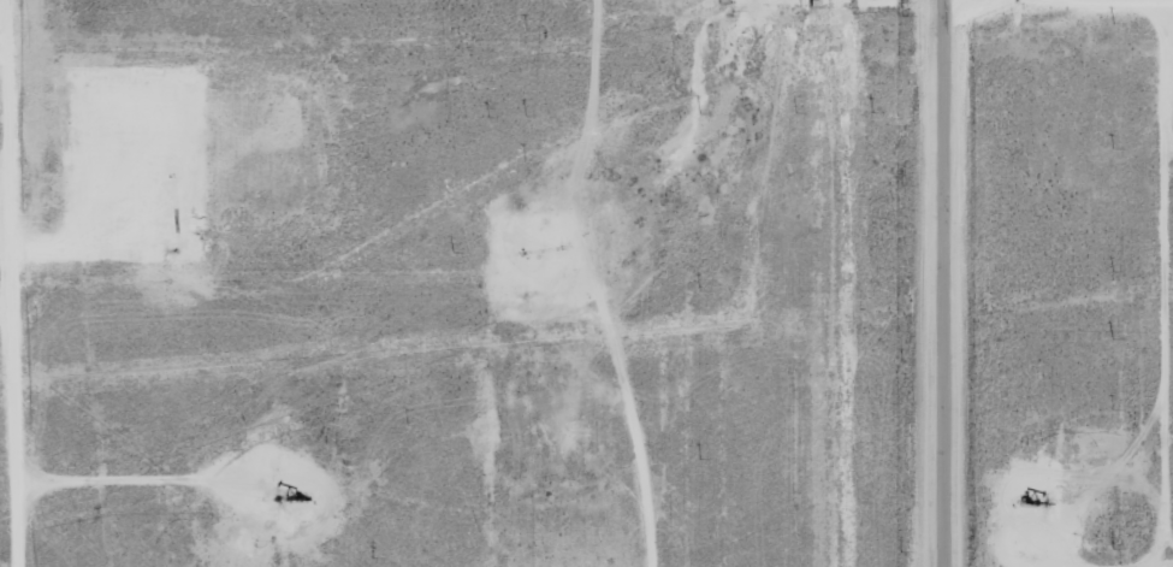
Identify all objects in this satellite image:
river: (765, 185)
road: (17, 283)
road: (936, 283)
road: (604, 288)

